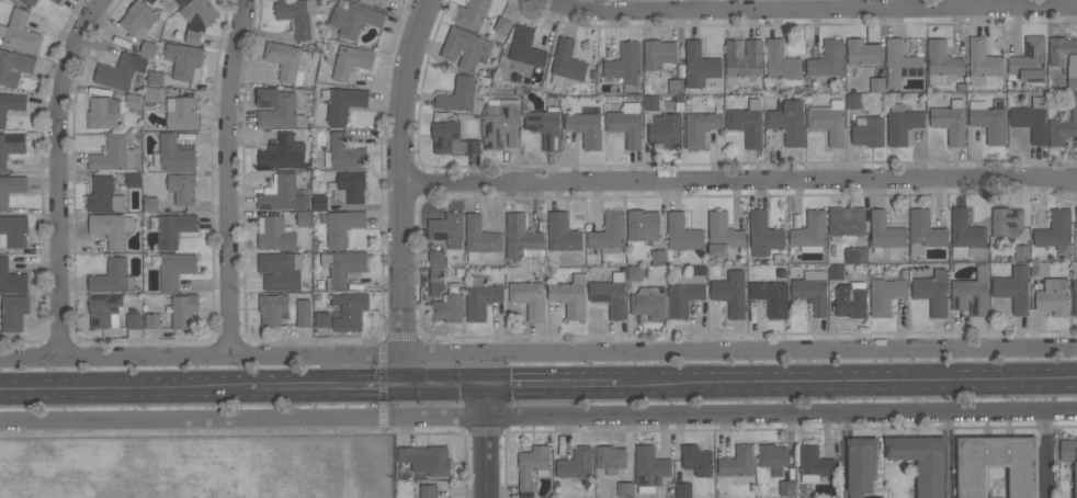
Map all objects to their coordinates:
building: (57, 1)
building: (150, 1)
building: (379, 1)
building: (31, 2)
building: (170, 3)
road: (817, 7)
building: (474, 14)
building: (297, 15)
building: (197, 18)
building: (354, 18)
building: (138, 19)
building: (501, 27)
building: (21, 32)
building: (466, 47)
building: (525, 47)
building: (148, 48)
building: (862, 52)
building: (659, 55)
building: (744, 57)
building: (1065, 57)
building: (183, 59)
building: (828, 59)
building: (1030, 59)
building: (287, 60)
building: (351, 61)
building: (566, 61)
building: (781, 61)
building: (983, 61)
building: (942, 63)
building: (900, 64)
building: (625, 65)
building: (699, 65)
building: (14, 66)
building: (120, 71)
building: (156, 78)
building: (877, 84)
building: (676, 86)
building: (151, 94)
building: (460, 95)
building: (853, 100)
building: (133, 101)
building: (650, 102)
building: (342, 103)
building: (10, 104)
building: (277, 107)
building: (104, 112)
building: (181, 113)
building: (989, 120)
building: (1031, 120)
building: (789, 121)
building: (828, 122)
building: (950, 122)
building: (747, 123)
building: (626, 124)
building: (502, 125)
building: (903, 125)
building: (1064, 125)
building: (545, 126)
building: (700, 127)
building: (586, 128)
building: (667, 131)
building: (868, 131)
building: (446, 137)
building: (473, 146)
building: (10, 147)
building: (345, 151)
building: (283, 152)
building: (113, 154)
building: (173, 154)
road: (61, 172)
road: (228, 176)
road: (740, 180)
building: (349, 186)
building: (11, 188)
building: (183, 188)
road: (404, 192)
building: (282, 194)
building: (103, 195)
building: (319, 202)
building: (150, 204)
building: (1076, 211)
building: (304, 218)
building: (847, 220)
building: (1007, 222)
building: (643, 225)
building: (342, 226)
building: (111, 228)
building: (171, 228)
building: (447, 228)
building: (1055, 229)
building: (13, 230)
building: (810, 231)
building: (885, 231)
building: (925, 231)
building: (964, 231)
building: (563, 233)
building: (683, 233)
building: (274, 234)
building: (609, 234)
building: (763, 234)
building: (722, 235)
building: (480, 237)
building: (522, 238)
building: (1021, 252)
building: (855, 256)
building: (658, 257)
building: (437, 258)
building: (343, 267)
building: (173, 269)
building: (1039, 269)
building: (280, 271)
building: (836, 271)
building: (637, 273)
building: (113, 278)
building: (11, 279)
building: (437, 281)
building: (1013, 288)
building: (812, 291)
building: (932, 291)
building: (730, 293)
building: (972, 293)
building: (684, 294)
building: (884, 294)
building: (610, 295)
building: (569, 296)
building: (771, 296)
building: (1053, 296)
building: (481, 297)
building: (529, 297)
building: (1074, 297)
building: (851, 299)
building: (649, 303)
building: (447, 305)
building: (273, 308)
building: (104, 310)
building: (183, 310)
building: (350, 310)
building: (13, 312)
building: (304, 313)
building: (321, 319)
building: (152, 320)
building: (134, 321)
road: (537, 349)
road: (849, 384)
road: (554, 387)
road: (447, 388)
traffic signals: (488, 388)
traffic signals: (408, 389)
road: (327, 391)
road: (123, 392)
road: (538, 419)
road: (844, 433)
road: (489, 442)
building: (1069, 455)
road: (949, 456)
road: (1044, 456)
building: (773, 457)
building: (611, 459)
building: (427, 460)
building: (696, 460)
building: (921, 461)
building: (738, 462)
building: (577, 464)
building: (815, 464)
building: (861, 465)
building: (997, 465)
building: (532, 468)
building: (649, 468)
road: (844, 474)
building: (786, 487)
building: (625, 489)
building: (429, 490)
building: (683, 490)

